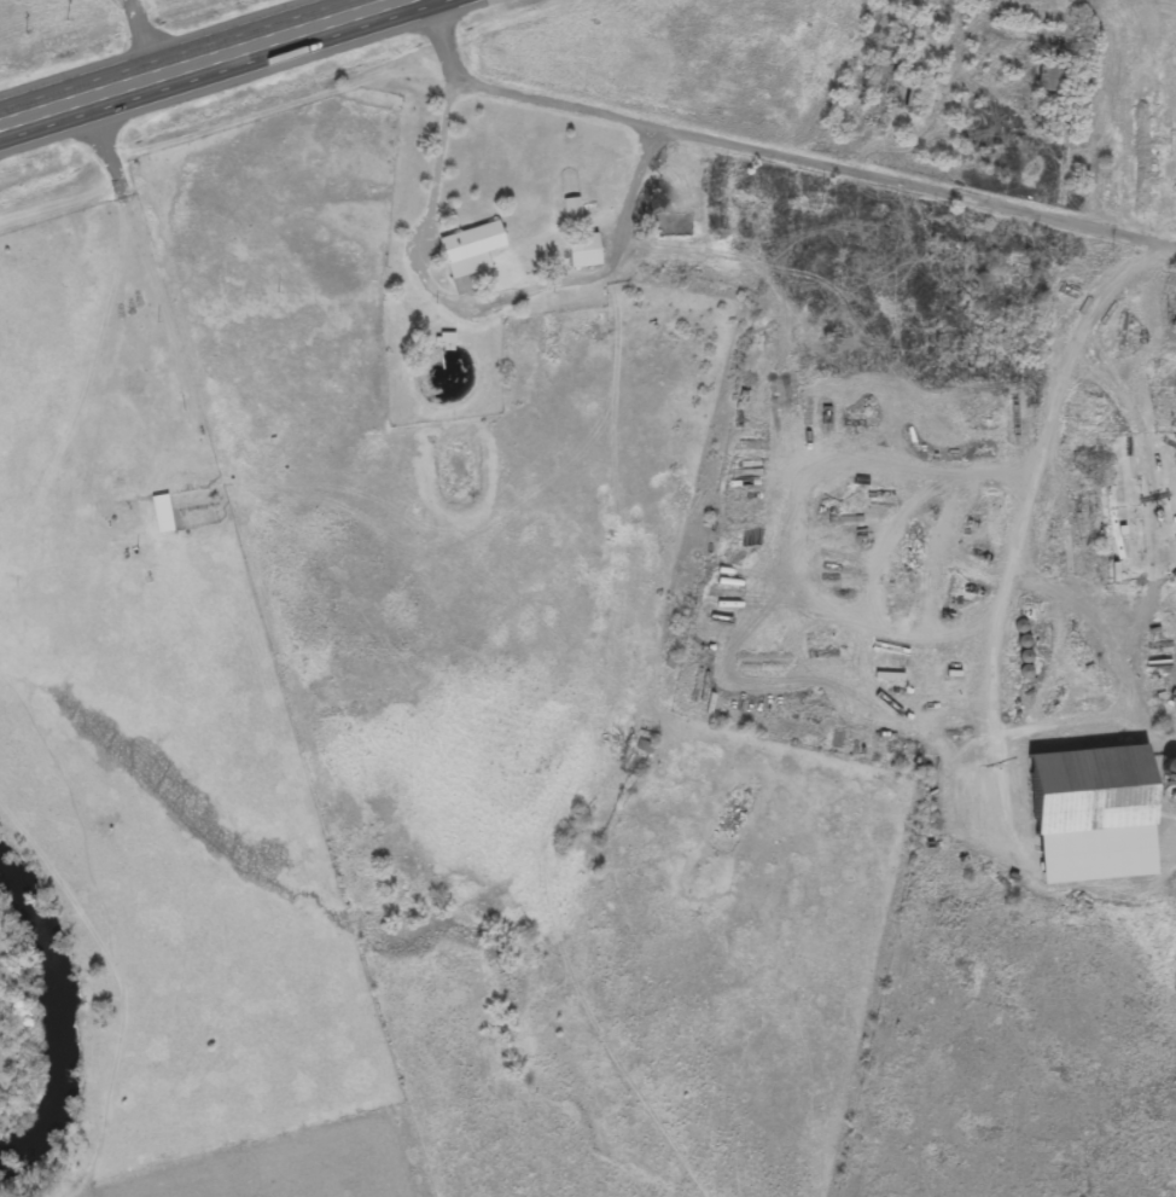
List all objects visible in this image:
road: (187, 57)
road: (244, 74)
building: (1048, 80)
road: (773, 158)
building: (470, 251)
building: (582, 252)
building: (1017, 277)
road: (819, 454)
road: (1024, 512)
building: (162, 516)
road: (889, 631)
building: (1084, 792)

